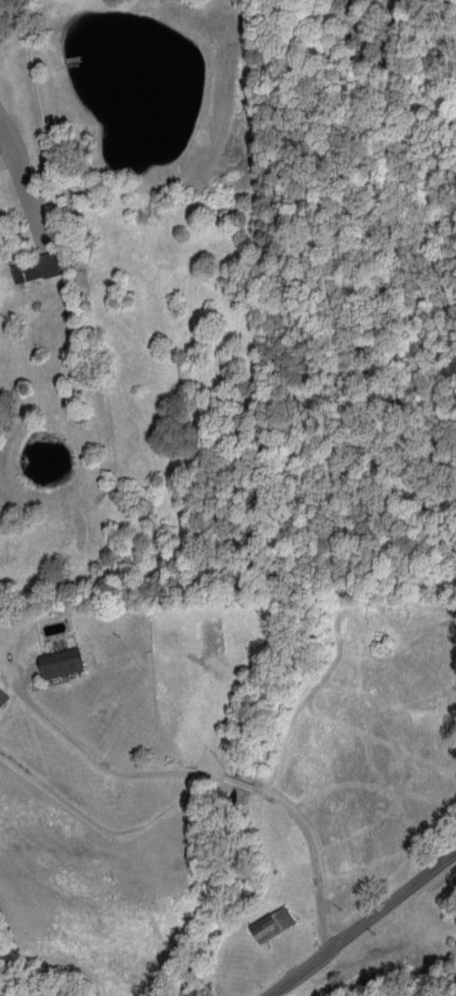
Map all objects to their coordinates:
building: (2, 158)
road: (20, 188)
building: (36, 267)
building: (61, 661)
building: (2, 697)
road: (221, 771)
building: (272, 923)
road: (362, 926)

